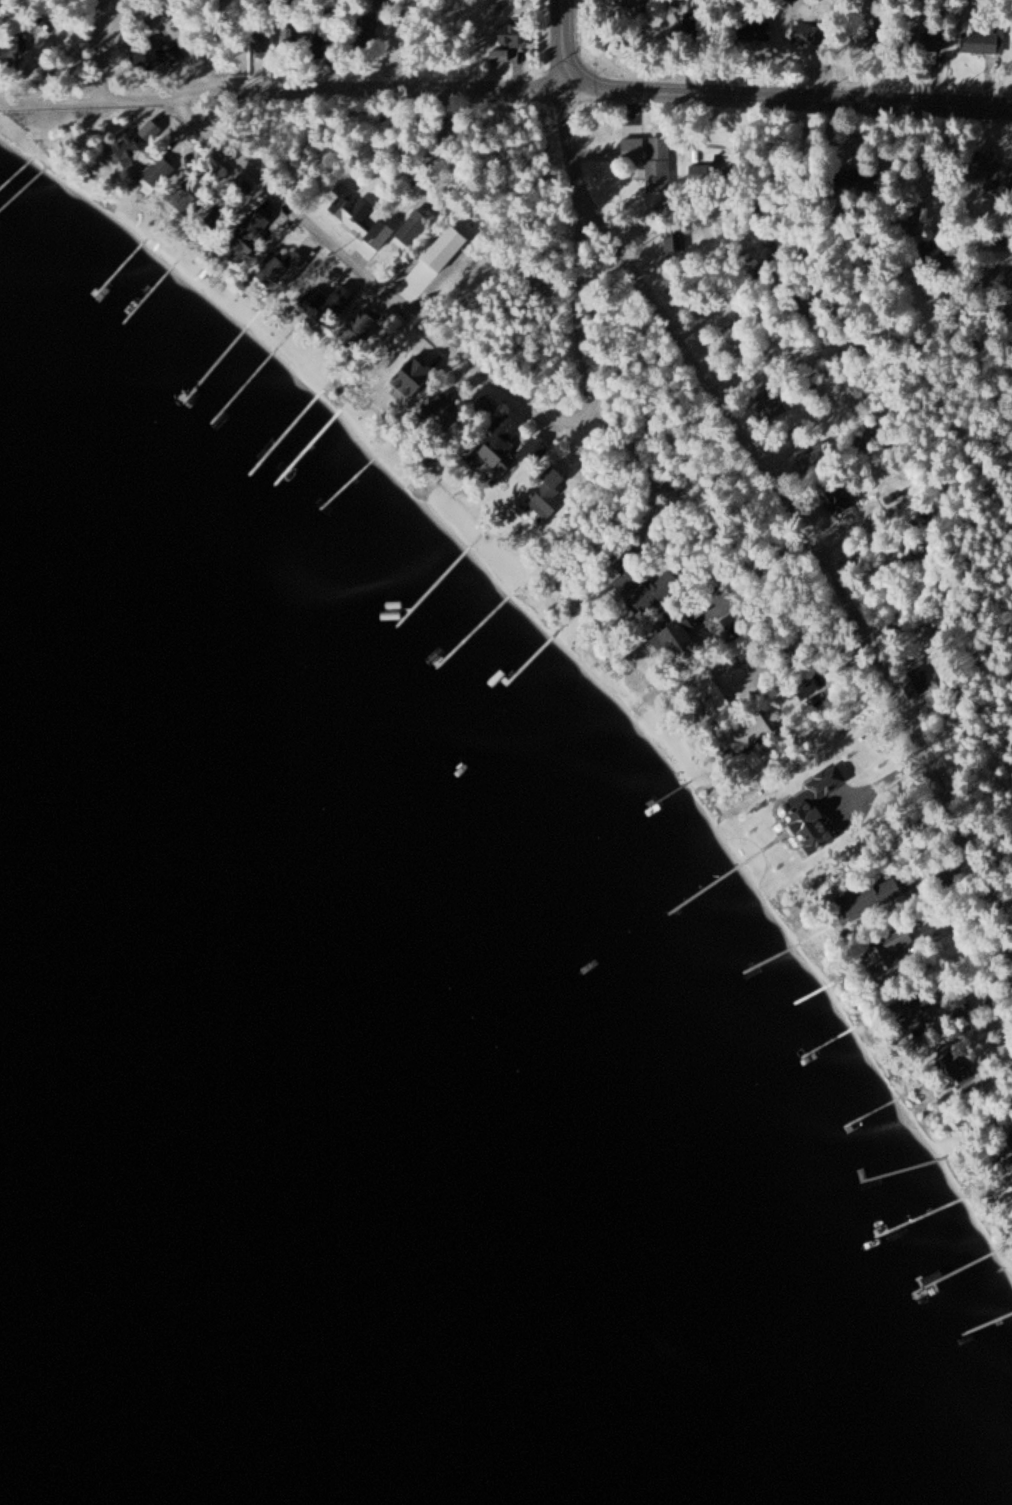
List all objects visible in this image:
building: (635, 3)
building: (753, 31)
building: (365, 33)
building: (807, 36)
building: (290, 38)
building: (314, 39)
building: (868, 39)
building: (924, 41)
building: (985, 42)
road: (562, 45)
building: (157, 57)
building: (500, 57)
road: (100, 72)
road: (355, 90)
road: (787, 98)
building: (634, 149)
building: (129, 152)
building: (659, 163)
building: (993, 171)
building: (222, 172)
building: (155, 177)
building: (242, 189)
building: (182, 203)
building: (358, 216)
building: (248, 233)
building: (675, 237)
road: (575, 259)
building: (285, 267)
road: (356, 267)
building: (335, 274)
building: (322, 301)
building: (360, 328)
building: (404, 376)
building: (437, 404)
building: (771, 404)
building: (487, 408)
building: (499, 440)
building: (532, 453)
building: (816, 458)
road: (914, 483)
building: (549, 493)
building: (841, 499)
road: (796, 516)
building: (639, 592)
building: (678, 634)
building: (916, 682)
building: (749, 730)
building: (871, 897)
building: (883, 956)
building: (914, 1012)
building: (1011, 1121)

